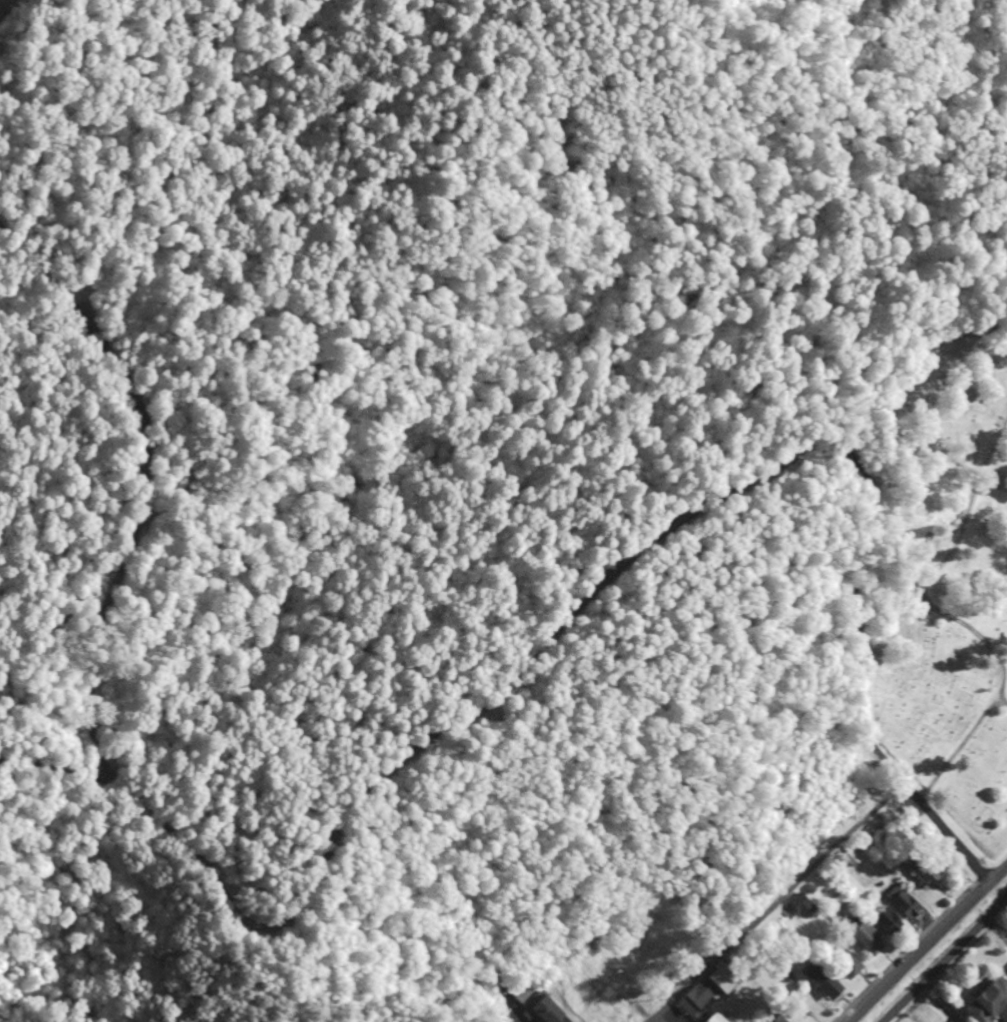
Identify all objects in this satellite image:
building: (6, 11)
road: (897, 223)
road: (141, 496)
park: (942, 575)
road: (588, 606)
road: (109, 788)
road: (944, 834)
building: (843, 860)
road: (63, 866)
road: (770, 900)
road: (989, 903)
building: (800, 904)
building: (897, 906)
building: (787, 909)
building: (880, 923)
road: (997, 930)
building: (859, 942)
road: (930, 946)
road: (946, 960)
building: (838, 964)
building: (821, 977)
building: (689, 999)
building: (986, 1003)
road: (655, 1018)
building: (778, 1018)
building: (707, 1019)
building: (769, 1019)

